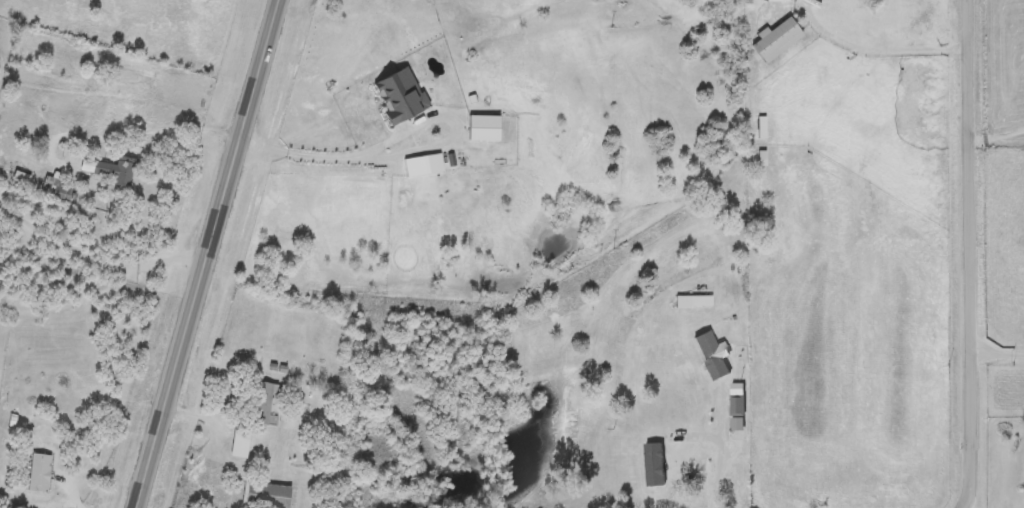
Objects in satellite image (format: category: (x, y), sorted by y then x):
road: (148, 132)
road: (996, 137)
road: (317, 157)
building: (110, 173)
road: (200, 253)
road: (967, 255)
road: (93, 265)
building: (690, 302)
building: (707, 356)
road: (995, 357)
building: (257, 403)
building: (734, 406)
building: (35, 473)
building: (262, 496)

